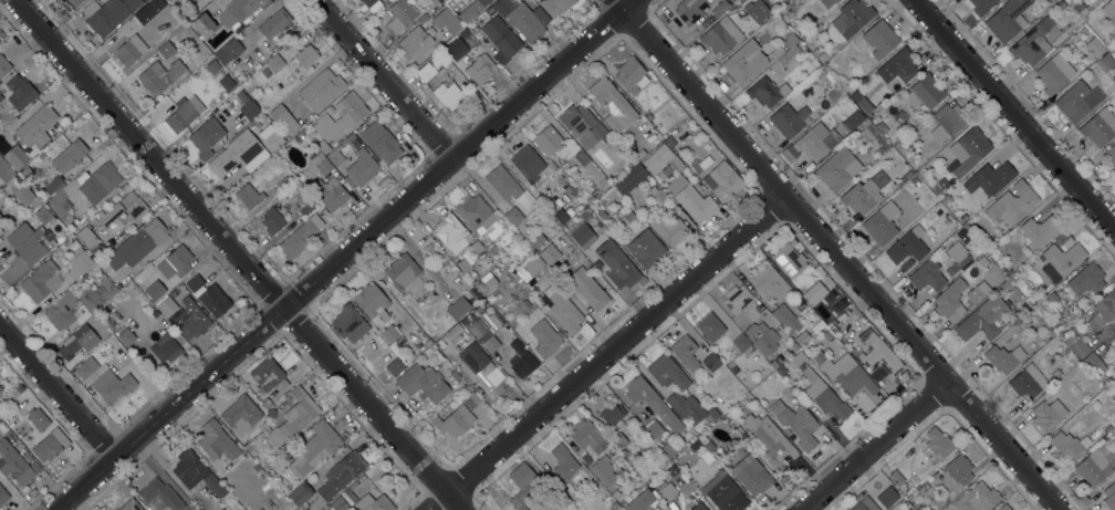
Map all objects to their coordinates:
building: (795, 1)
building: (1046, 1)
building: (74, 2)
building: (827, 2)
building: (371, 4)
building: (555, 6)
building: (981, 6)
building: (243, 7)
building: (719, 8)
building: (1081, 9)
building: (1109, 9)
building: (690, 10)
building: (756, 10)
building: (471, 11)
building: (107, 13)
building: (144, 14)
building: (400, 15)
building: (522, 18)
building: (421, 19)
building: (847, 20)
building: (1007, 20)
building: (446, 21)
building: (273, 23)
building: (202, 25)
building: (761, 27)
building: (749, 28)
building: (463, 33)
building: (720, 35)
building: (501, 39)
building: (790, 39)
building: (879, 39)
building: (415, 41)
building: (1032, 42)
building: (168, 46)
building: (456, 48)
building: (1094, 48)
building: (131, 50)
building: (229, 51)
building: (306, 55)
building: (789, 60)
building: (744, 62)
building: (1106, 62)
building: (274, 63)
building: (902, 64)
building: (3, 65)
building: (212, 66)
building: (480, 70)
building: (265, 72)
building: (426, 72)
building: (631, 73)
building: (1113, 73)
building: (159, 76)
building: (1050, 77)
road: (385, 79)
building: (223, 81)
building: (321, 90)
building: (20, 92)
building: (767, 92)
building: (925, 92)
building: (837, 93)
building: (854, 95)
building: (450, 96)
building: (1, 97)
building: (1077, 101)
building: (612, 105)
building: (247, 106)
building: (351, 108)
road: (1015, 113)
building: (181, 115)
building: (262, 117)
building: (283, 117)
building: (950, 118)
building: (788, 119)
building: (853, 119)
building: (365, 122)
building: (252, 123)
building: (326, 127)
building: (581, 127)
building: (1098, 127)
building: (301, 135)
building: (873, 135)
building: (31, 136)
building: (206, 136)
building: (271, 137)
building: (352, 139)
building: (670, 139)
building: (548, 140)
building: (815, 142)
building: (381, 143)
building: (898, 146)
building: (323, 149)
building: (968, 150)
building: (239, 154)
building: (639, 154)
building: (1111, 154)
building: (69, 156)
building: (335, 156)
building: (660, 159)
building: (528, 163)
building: (705, 163)
building: (321, 164)
building: (361, 169)
building: (837, 169)
building: (591, 170)
building: (1114, 170)
building: (6, 171)
building: (27, 173)
building: (663, 173)
building: (70, 174)
building: (907, 175)
building: (631, 179)
building: (721, 179)
building: (990, 179)
building: (650, 180)
building: (544, 181)
building: (915, 181)
building: (942, 183)
building: (283, 184)
building: (502, 184)
building: (54, 186)
building: (87, 187)
building: (552, 187)
building: (936, 188)
building: (330, 192)
building: (23, 194)
building: (864, 194)
building: (248, 196)
building: (592, 196)
building: (657, 196)
building: (690, 199)
building: (1011, 204)
building: (308, 207)
building: (125, 208)
building: (477, 212)
building: (44, 216)
building: (513, 216)
building: (561, 216)
building: (585, 216)
building: (628, 216)
building: (0, 217)
building: (948, 218)
building: (66, 219)
building: (273, 220)
building: (882, 223)
building: (669, 229)
building: (1040, 229)
building: (0, 230)
building: (7, 232)
building: (451, 232)
building: (961, 232)
building: (19, 235)
building: (86, 237)
building: (300, 237)
building: (1063, 240)
building: (538, 241)
building: (34, 244)
building: (137, 244)
building: (476, 246)
building: (907, 246)
building: (490, 247)
building: (646, 248)
building: (977, 250)
building: (97, 251)
road: (342, 252)
building: (549, 253)
road: (829, 254)
road: (230, 257)
building: (957, 257)
building: (1063, 258)
building: (789, 260)
building: (76, 261)
building: (176, 262)
building: (982, 262)
building: (410, 263)
building: (616, 264)
building: (463, 266)
building: (527, 270)
building: (143, 273)
building: (399, 273)
building: (927, 275)
building: (1086, 279)
building: (137, 280)
building: (490, 280)
building: (39, 281)
building: (769, 282)
building: (1005, 284)
building: (142, 285)
building: (480, 287)
building: (588, 289)
building: (155, 290)
building: (978, 292)
building: (173, 293)
building: (813, 293)
building: (95, 294)
building: (209, 295)
building: (737, 298)
building: (372, 301)
building: (950, 301)
building: (1041, 303)
building: (527, 304)
building: (167, 306)
building: (457, 308)
building: (478, 309)
building: (1103, 310)
building: (61, 311)
building: (563, 311)
building: (784, 316)
building: (982, 319)
building: (192, 320)
building: (1024, 323)
building: (348, 324)
building: (710, 327)
building: (832, 327)
building: (454, 331)
building: (483, 333)
building: (389, 334)
building: (827, 335)
building: (126, 336)
building: (544, 339)
building: (801, 339)
building: (77, 341)
building: (761, 341)
building: (742, 345)
building: (1076, 345)
building: (165, 348)
road: (600, 352)
building: (685, 352)
building: (878, 354)
building: (1003, 357)
building: (779, 358)
building: (521, 361)
building: (709, 363)
building: (479, 365)
building: (86, 367)
building: (395, 367)
building: (1095, 367)
building: (667, 372)
building: (845, 373)
building: (269, 375)
building: (455, 375)
building: (1055, 375)
building: (1028, 381)
building: (423, 383)
building: (112, 385)
building: (0, 388)
road: (58, 389)
building: (820, 389)
building: (471, 400)
building: (652, 402)
building: (267, 403)
building: (685, 406)
building: (241, 414)
building: (612, 414)
building: (711, 414)
building: (1048, 415)
building: (38, 418)
building: (294, 420)
building: (454, 421)
building: (796, 423)
building: (259, 425)
building: (21, 428)
building: (654, 429)
building: (786, 431)
building: (585, 434)
building: (28, 438)
building: (702, 439)
building: (216, 440)
building: (770, 440)
building: (618, 441)
building: (938, 444)
building: (50, 445)
road: (869, 445)
building: (1069, 445)
building: (692, 446)
building: (710, 447)
building: (314, 448)
building: (668, 449)
building: (619, 458)
building: (14, 462)
building: (563, 462)
building: (1096, 464)
building: (959, 469)
building: (247, 470)
building: (604, 470)
building: (673, 470)
building: (196, 472)
building: (340, 476)
building: (753, 478)
building: (896, 478)
building: (525, 481)
building: (926, 487)
building: (268, 488)
building: (668, 490)
building: (556, 492)
building: (725, 492)
building: (160, 495)
building: (299, 495)
building: (3, 496)
building: (617, 496)
building: (1109, 496)
building: (886, 497)
building: (977, 498)
building: (517, 501)
building: (640, 501)
building: (374, 502)
building: (337, 504)
building: (864, 504)
building: (131, 506)
building: (614, 506)
building: (698, 507)
building: (1004, 507)
building: (907, 509)
building: (908, 509)

